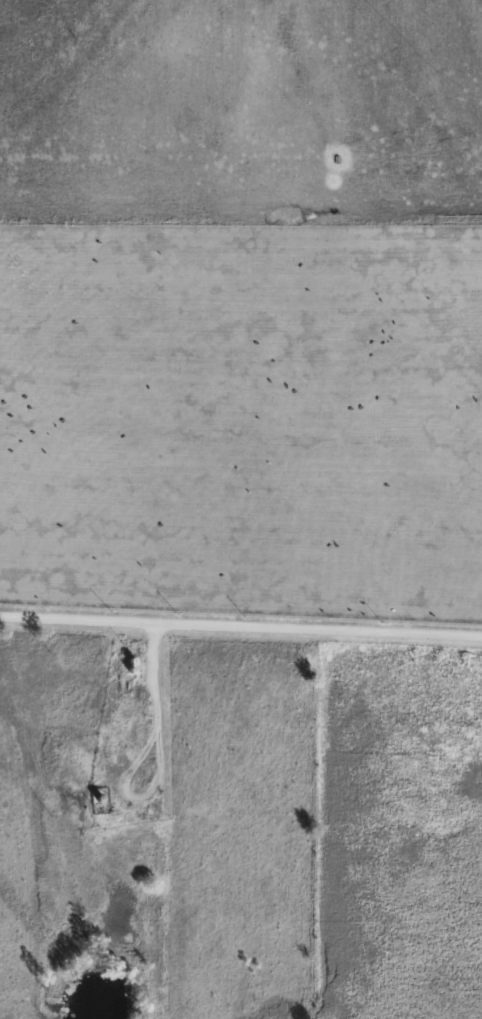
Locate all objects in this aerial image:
road: (241, 625)

